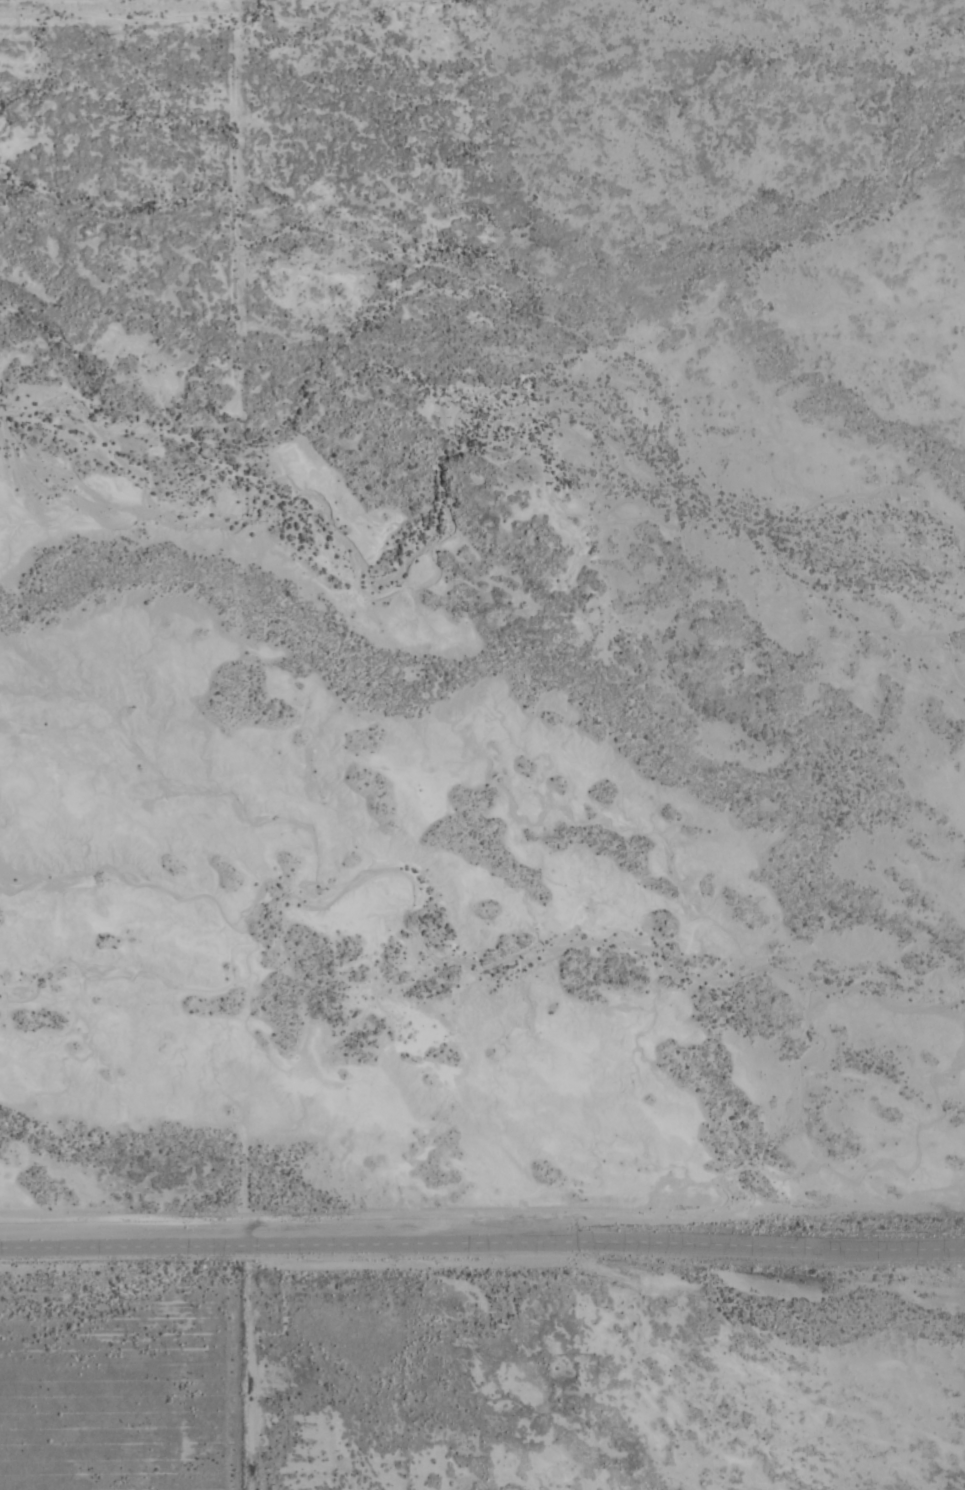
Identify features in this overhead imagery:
road: (482, 1252)

